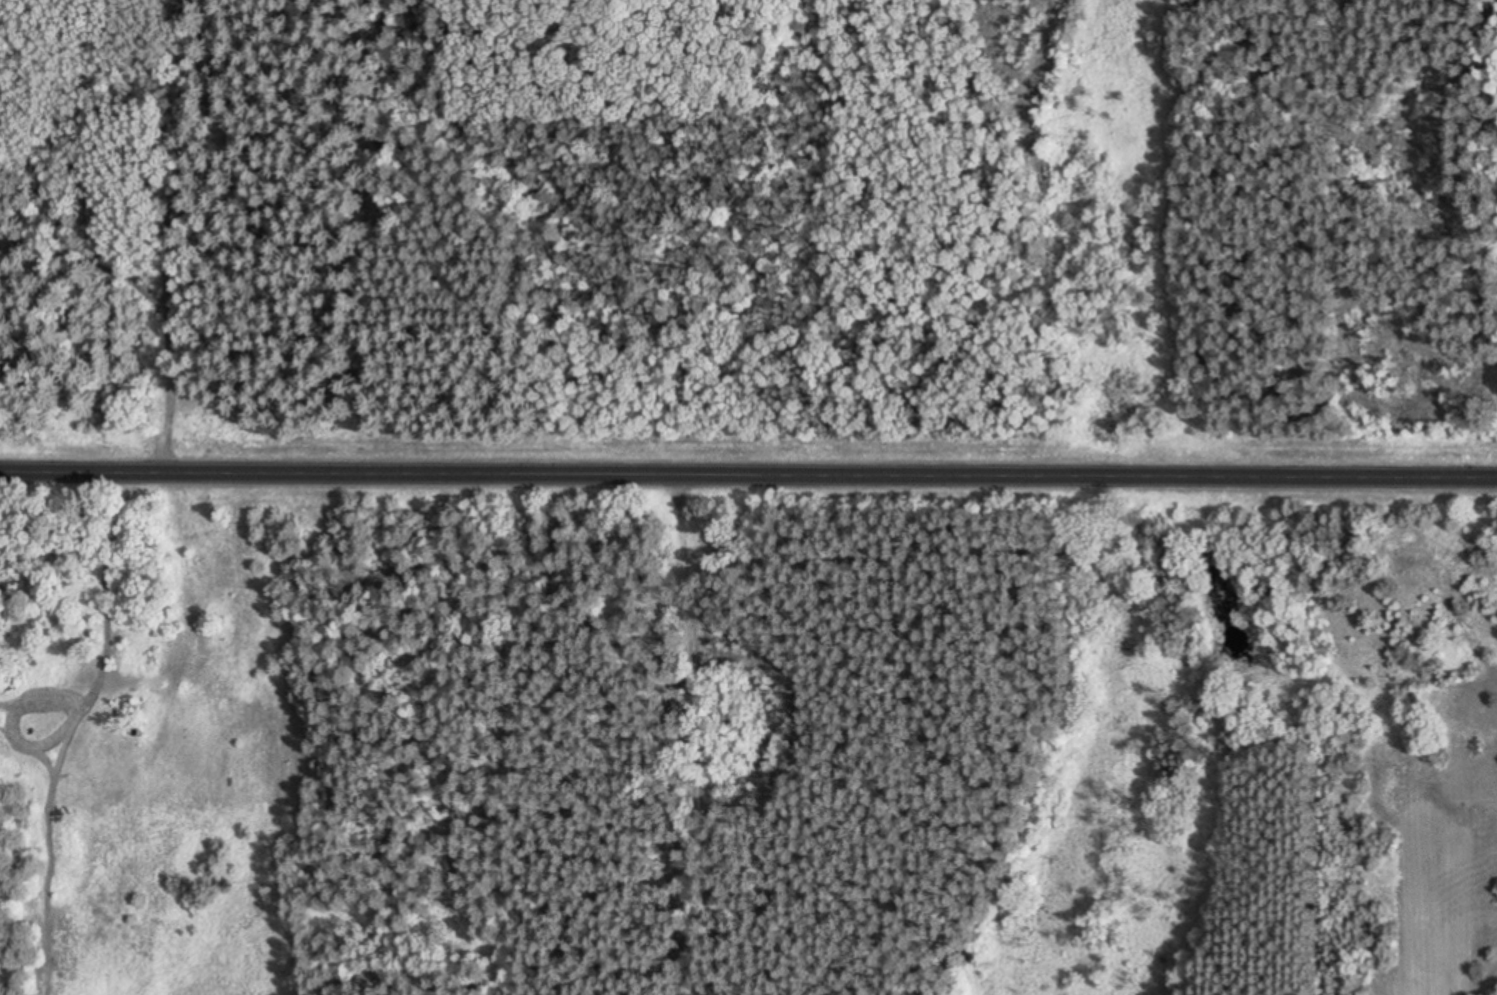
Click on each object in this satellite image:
road: (748, 473)
building: (0, 699)

